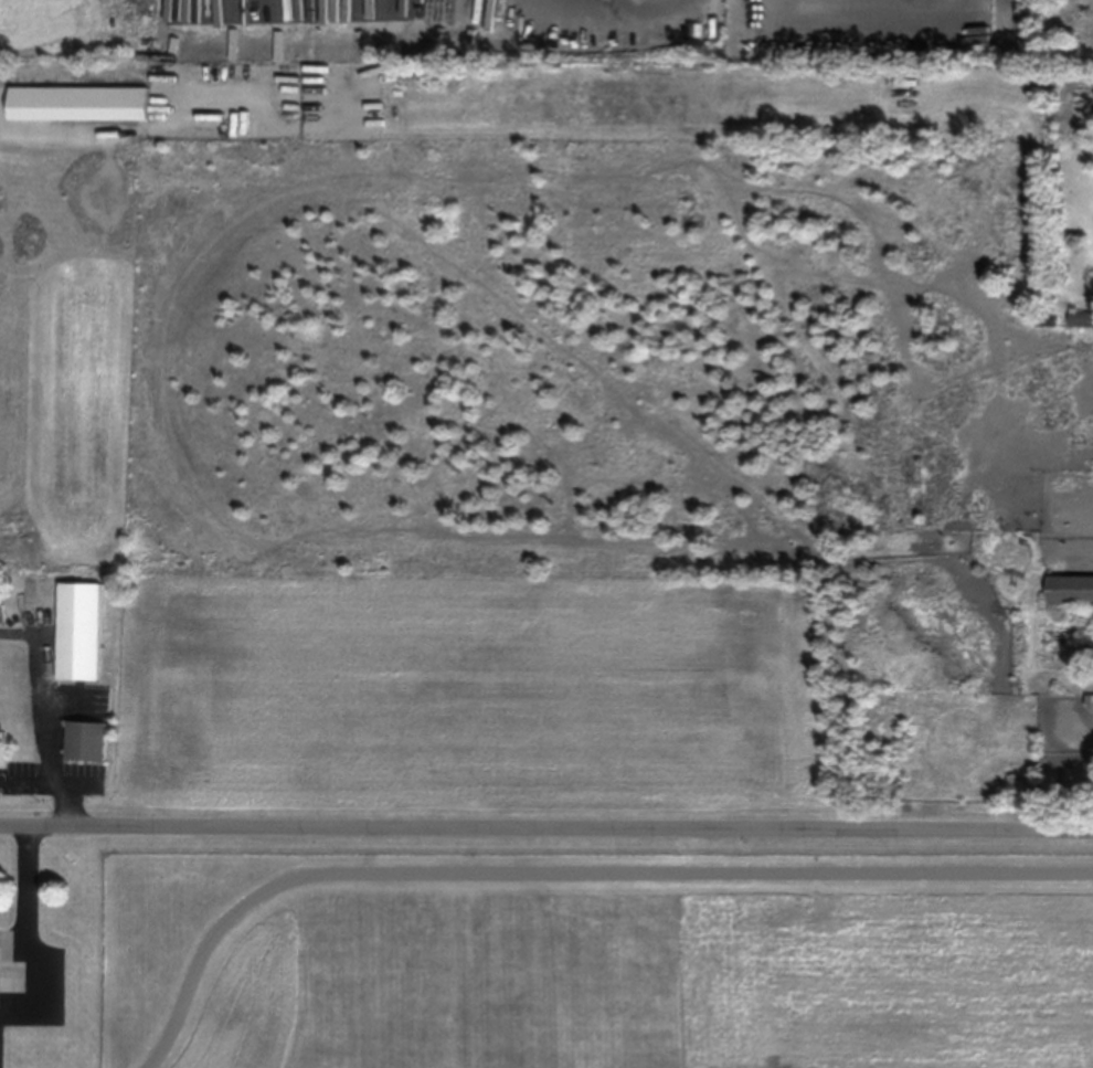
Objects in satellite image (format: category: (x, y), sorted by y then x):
building: (81, 104)
building: (978, 124)
building: (1043, 318)
building: (1080, 319)
building: (1070, 591)
building: (82, 630)
road: (45, 730)
building: (87, 740)
road: (546, 829)
road: (25, 906)
airport: (595, 951)

